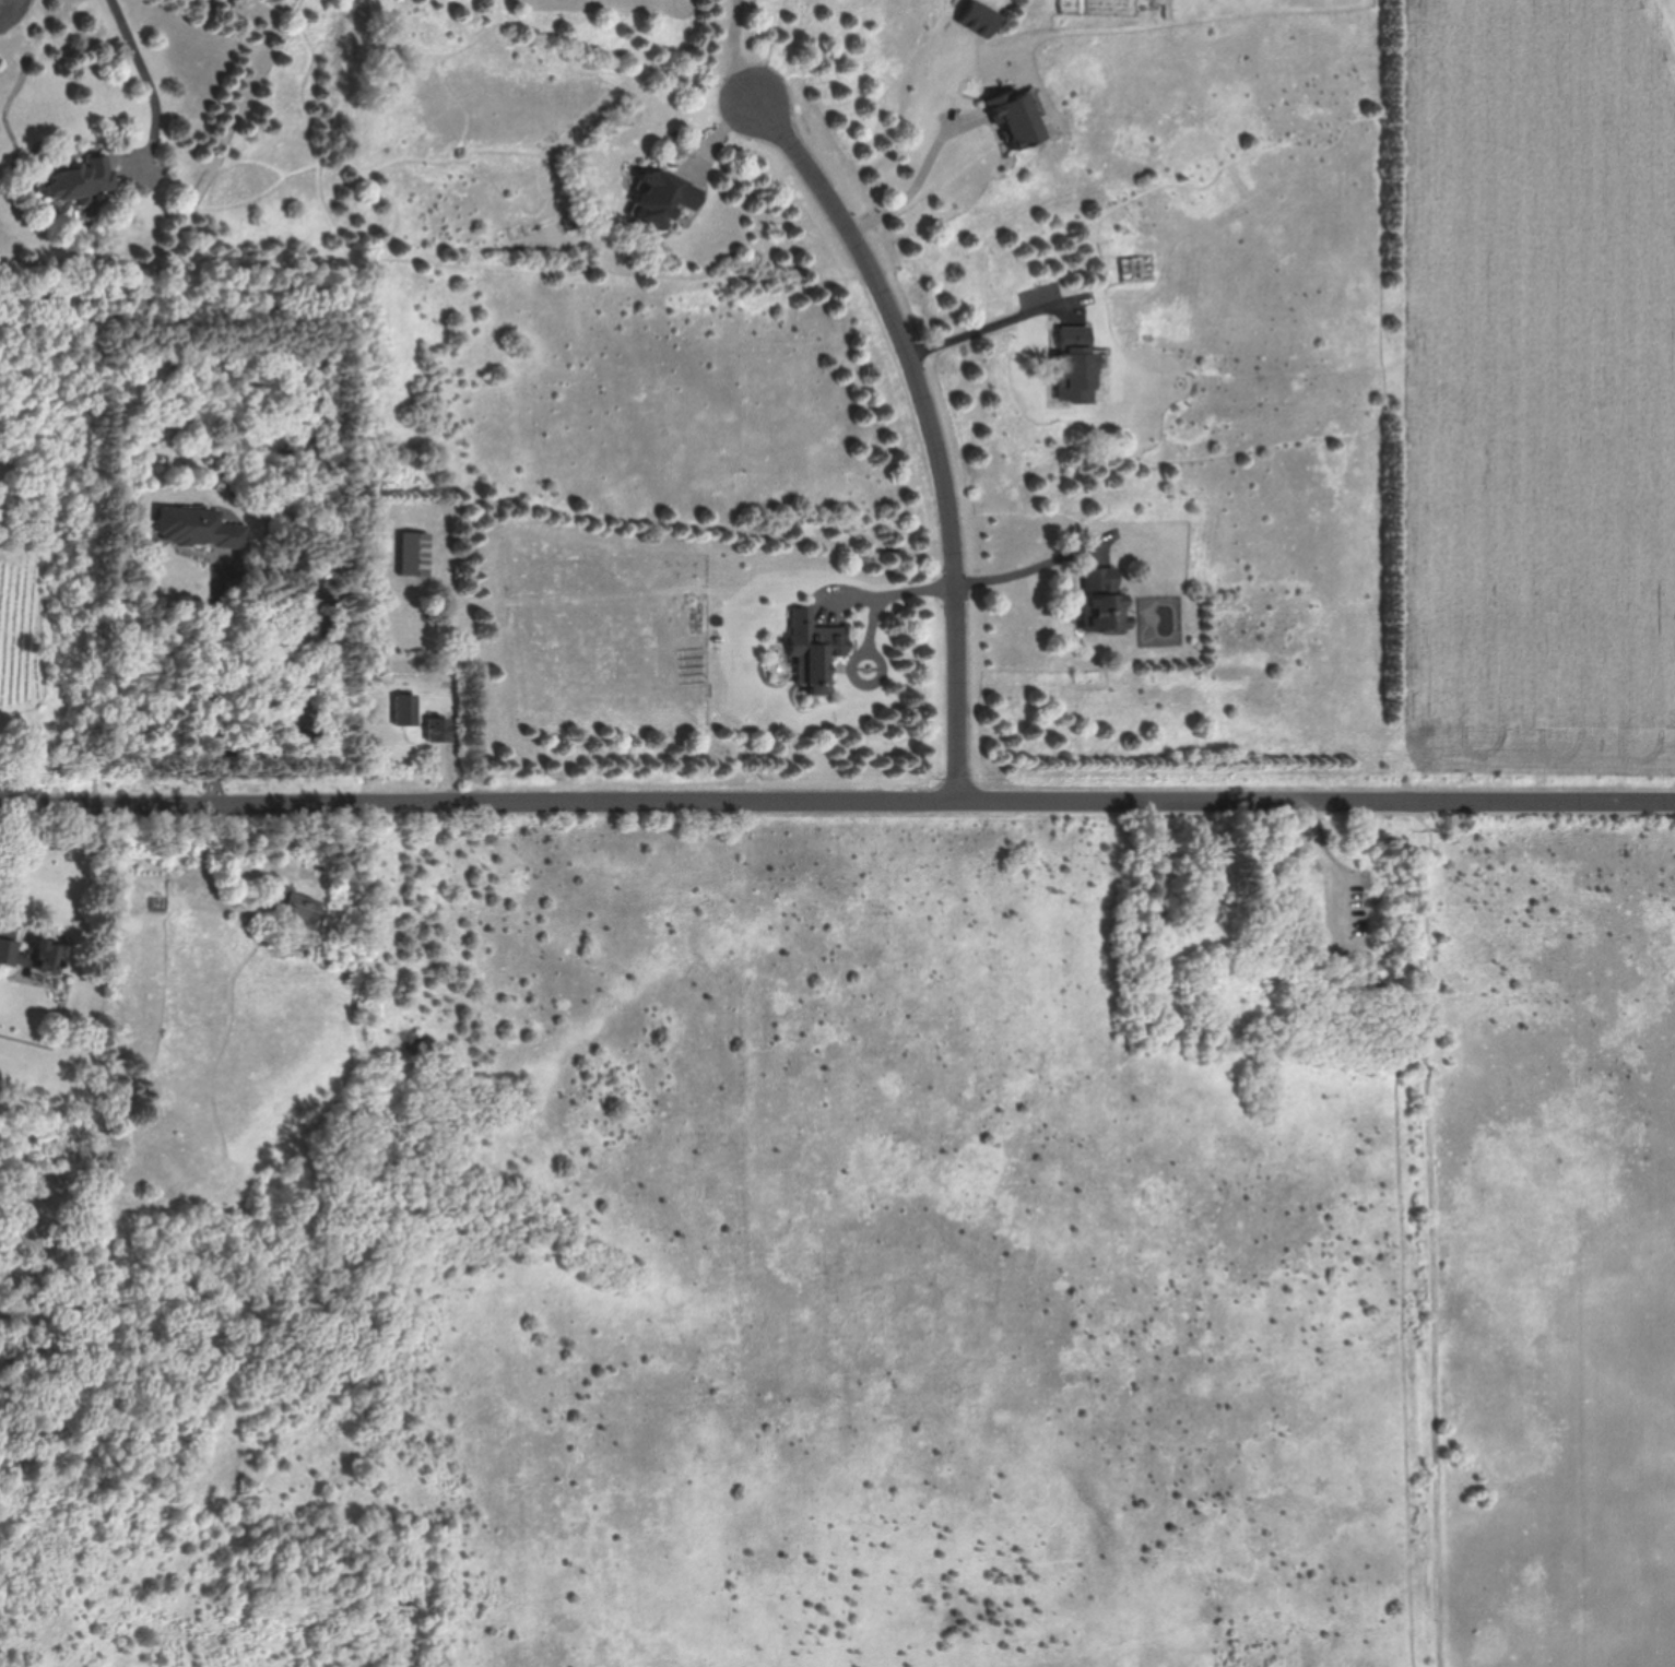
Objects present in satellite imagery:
road: (738, 50)
road: (141, 67)
building: (1011, 120)
building: (81, 178)
road: (915, 185)
building: (671, 203)
road: (995, 322)
building: (1071, 365)
road: (930, 427)
building: (200, 528)
building: (415, 553)
road: (1039, 560)
road: (886, 601)
building: (1099, 603)
building: (307, 617)
building: (811, 650)
road: (211, 685)
building: (408, 710)
building: (438, 732)
road: (837, 800)
road: (1340, 868)
building: (299, 907)
parking lot: (1350, 915)
building: (50, 949)
road: (1419, 1233)
park: (939, 1260)

